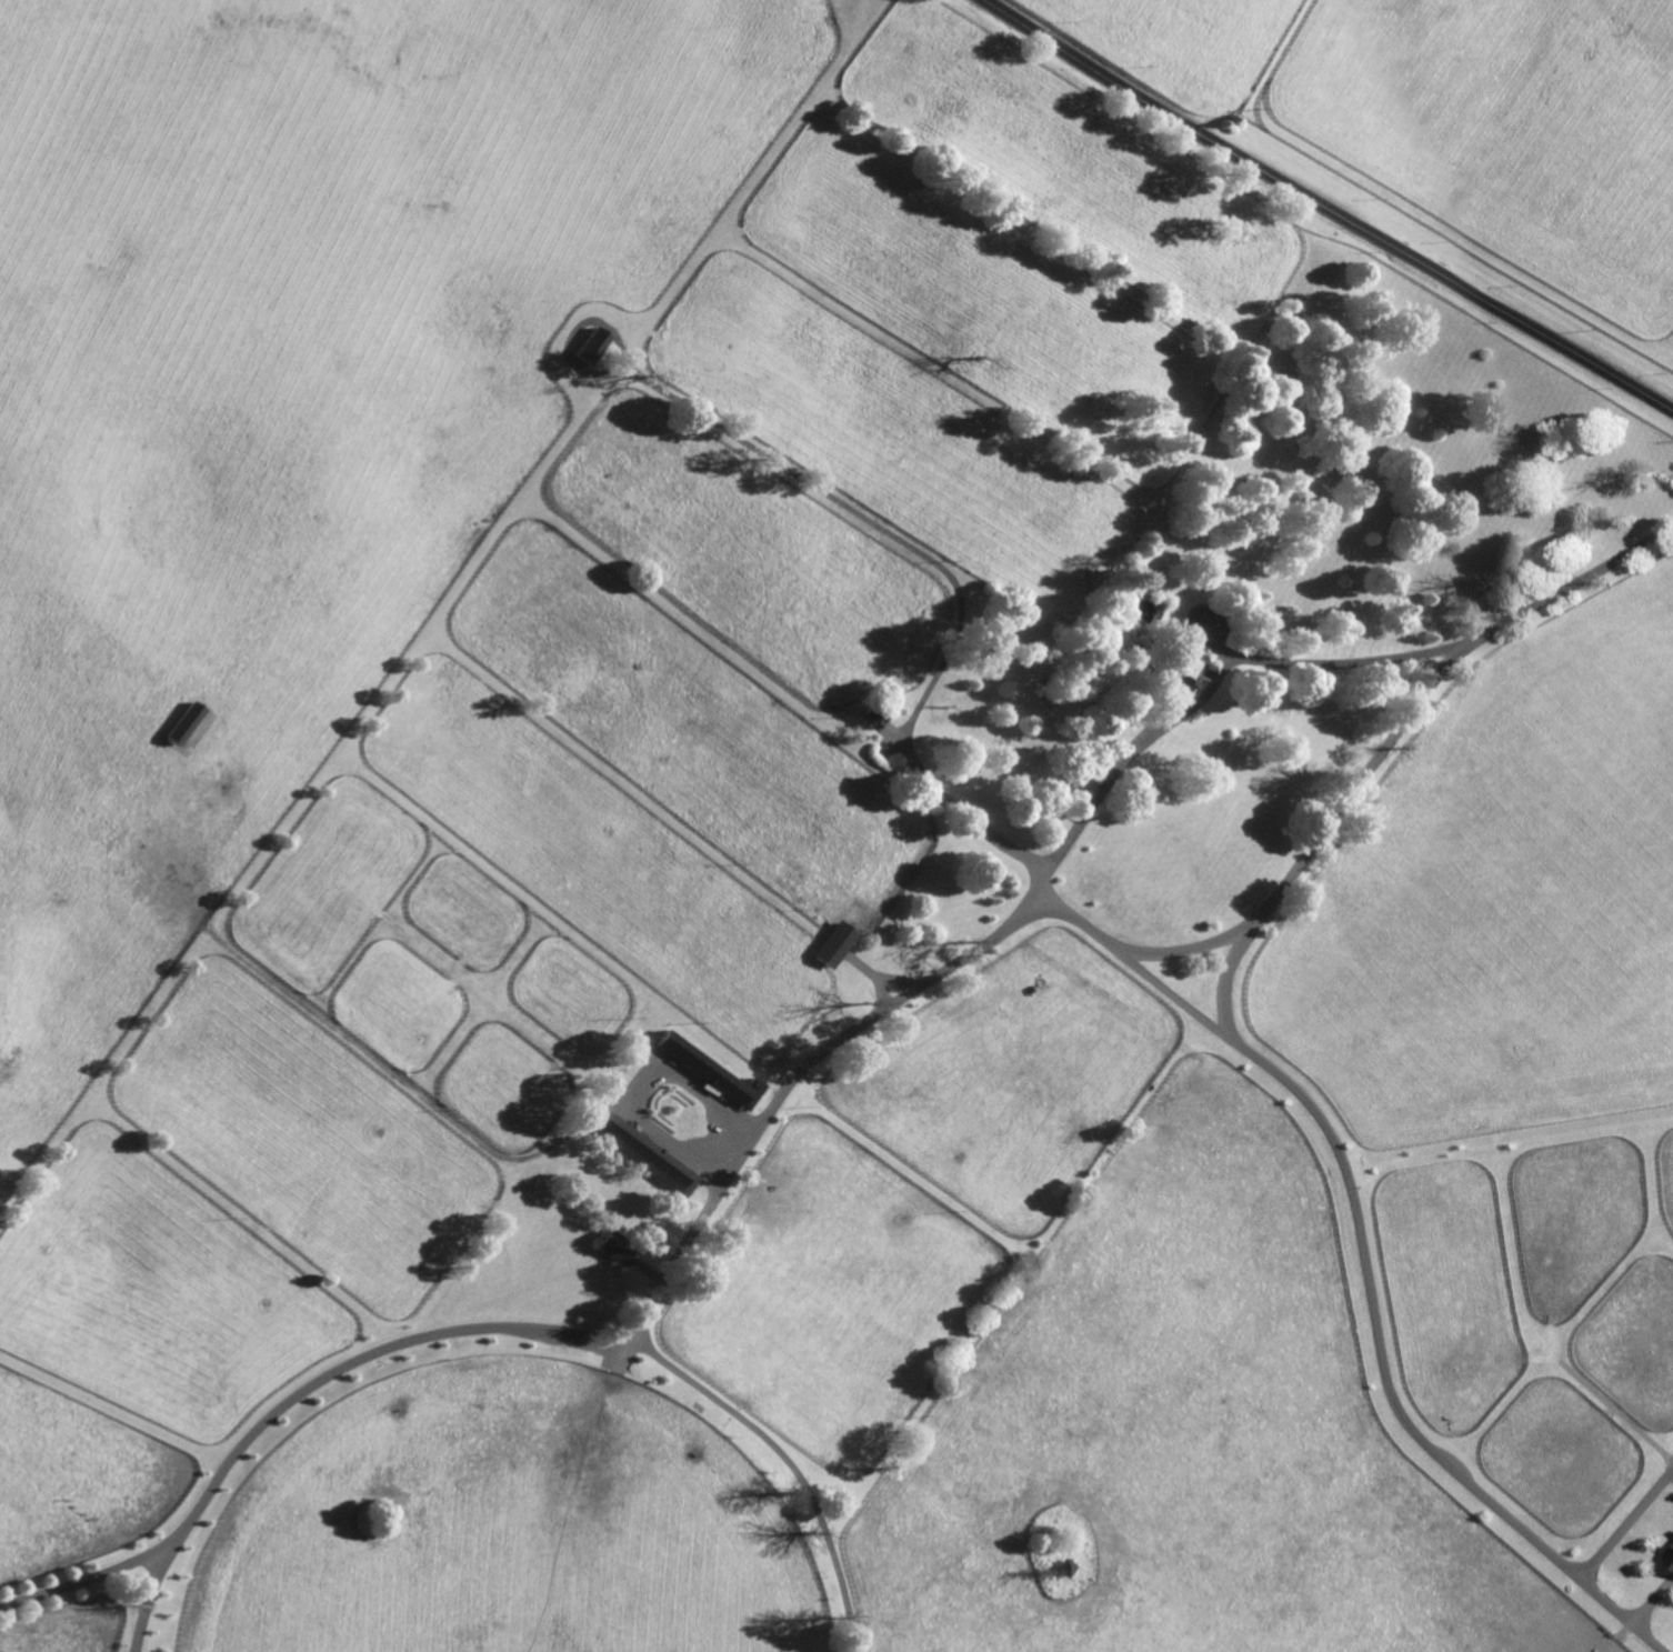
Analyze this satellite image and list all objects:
road: (1326, 209)
building: (590, 346)
road: (951, 579)
road: (1566, 587)
building: (1105, 628)
building: (1123, 653)
building: (1178, 671)
building: (1048, 687)
building: (869, 717)
building: (182, 724)
road: (1053, 905)
building: (833, 942)
road: (1229, 980)
building: (711, 1070)
building: (645, 1154)
building: (614, 1246)
road: (1370, 1309)
road: (610, 1345)
road: (788, 1460)
road: (1626, 1523)
building: (1670, 1554)
building: (1063, 1568)
road: (90, 1580)

